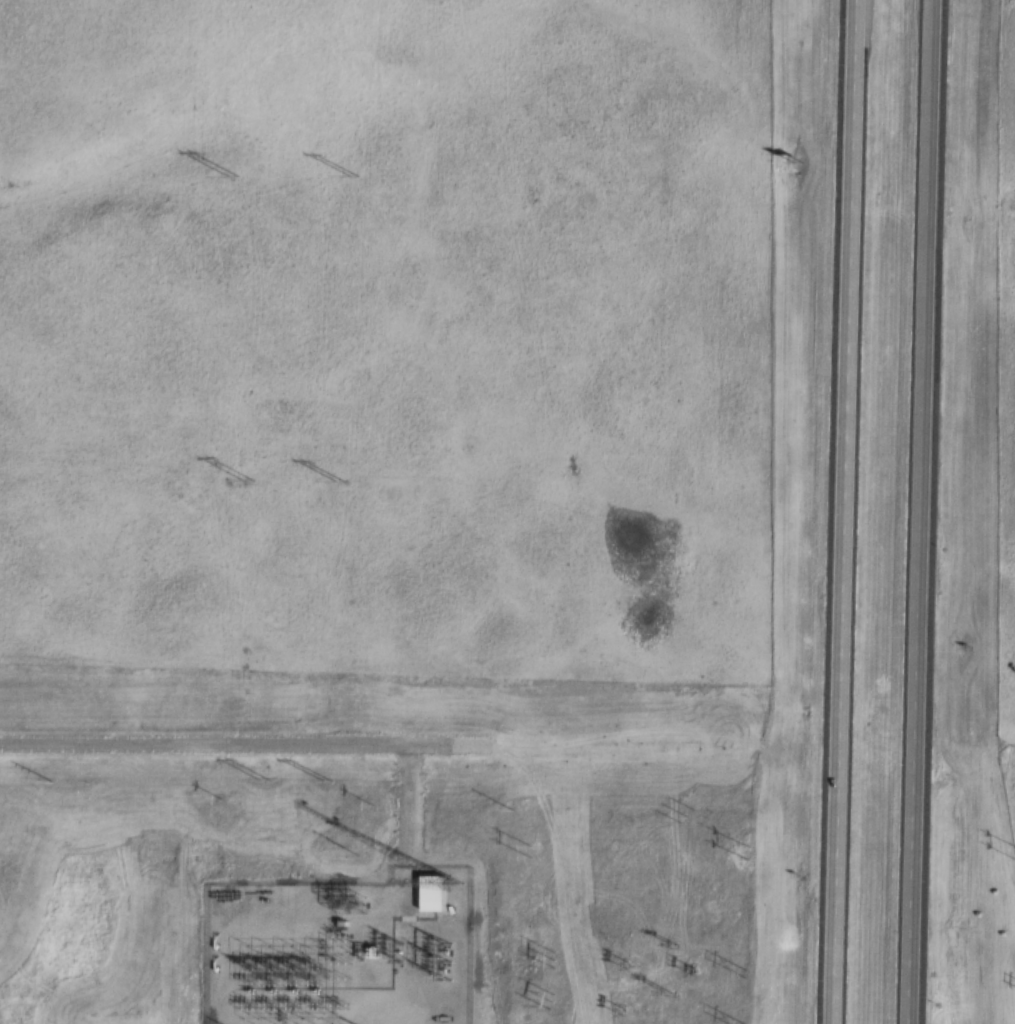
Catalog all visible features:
power tower: (348, 175)
power tower: (229, 177)
power tower: (333, 480)
power tower: (244, 482)
road: (845, 512)
road: (928, 512)
road: (228, 742)
power tower: (318, 777)
power tower: (260, 780)
power tower: (689, 815)
road: (403, 823)
building: (435, 893)
power tower: (672, 940)
power substation: (338, 951)
power tower: (549, 960)
power tower: (622, 965)
power tower: (743, 974)
power tower: (659, 994)
power tower: (544, 1001)
power tower: (618, 1010)

